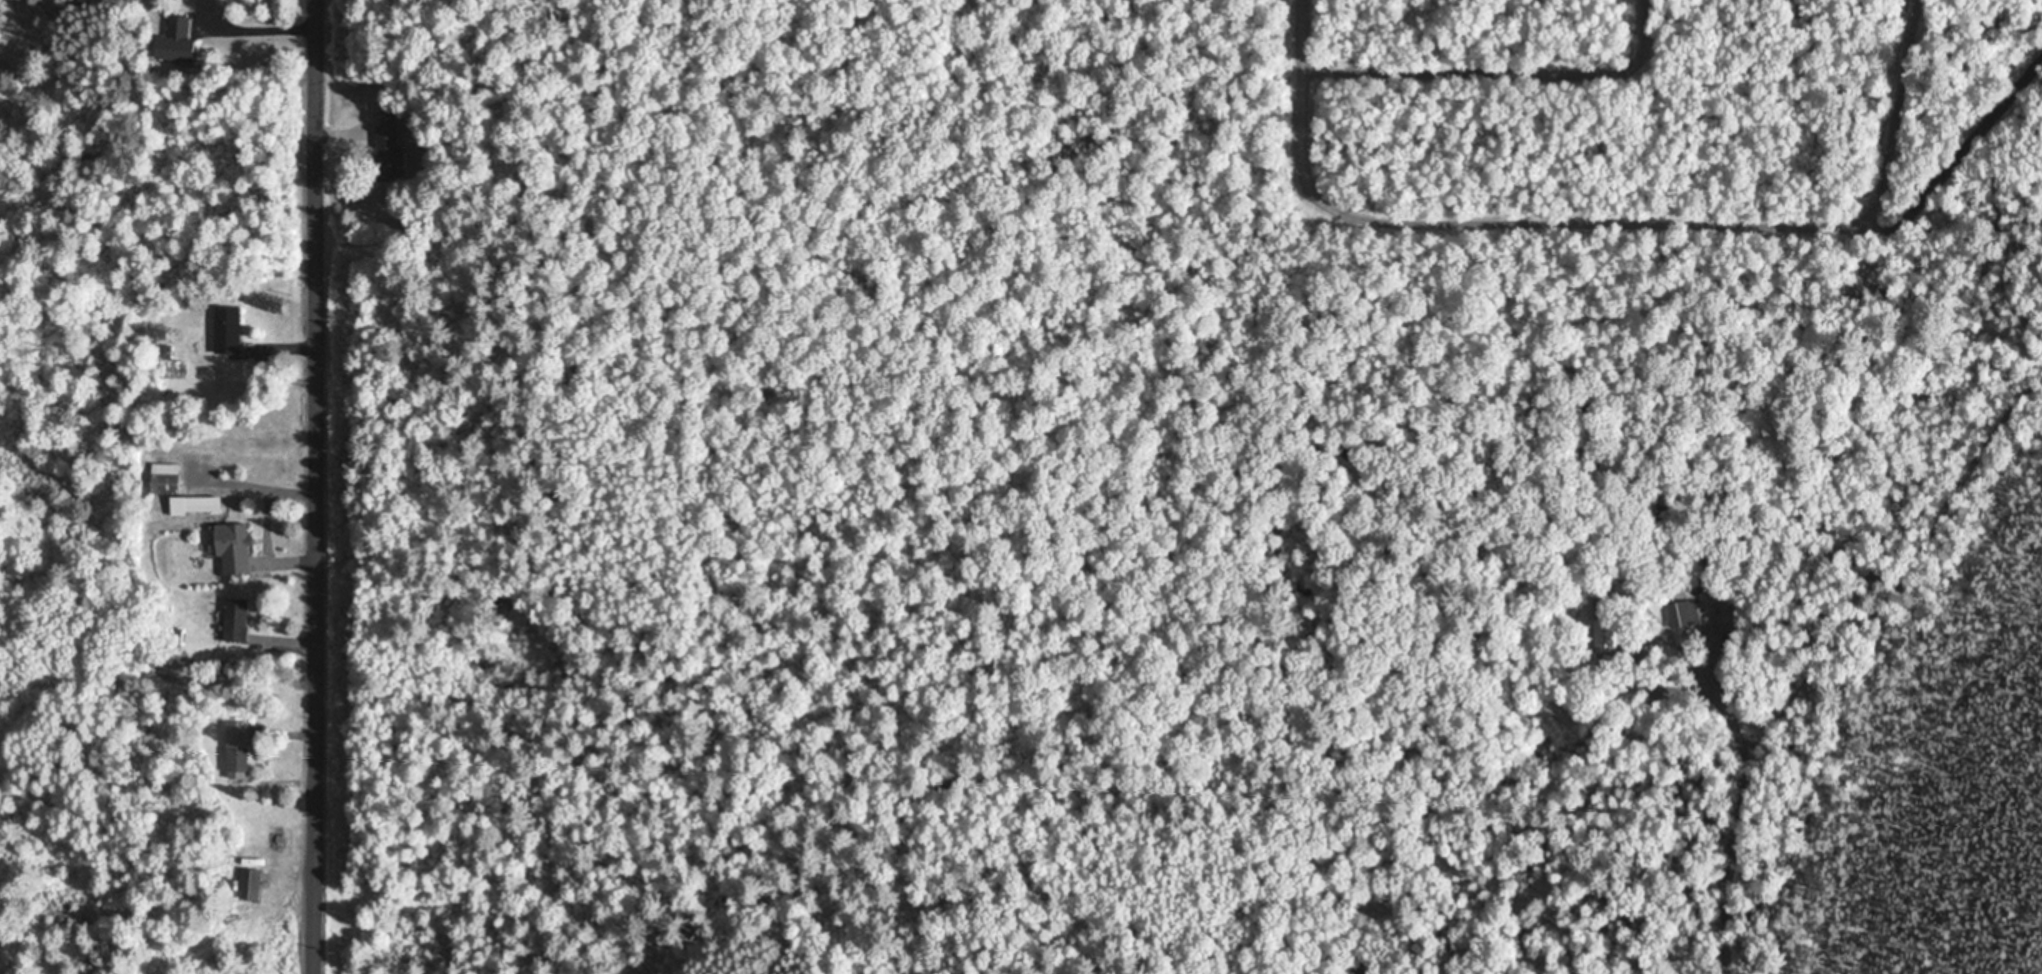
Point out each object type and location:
building: (213, 7)
building: (174, 41)
road: (1491, 50)
building: (386, 152)
road: (1595, 215)
building: (226, 329)
building: (163, 479)
road: (317, 487)
building: (230, 549)
building: (234, 620)
building: (1683, 622)
building: (1607, 626)
building: (236, 750)
building: (248, 884)

